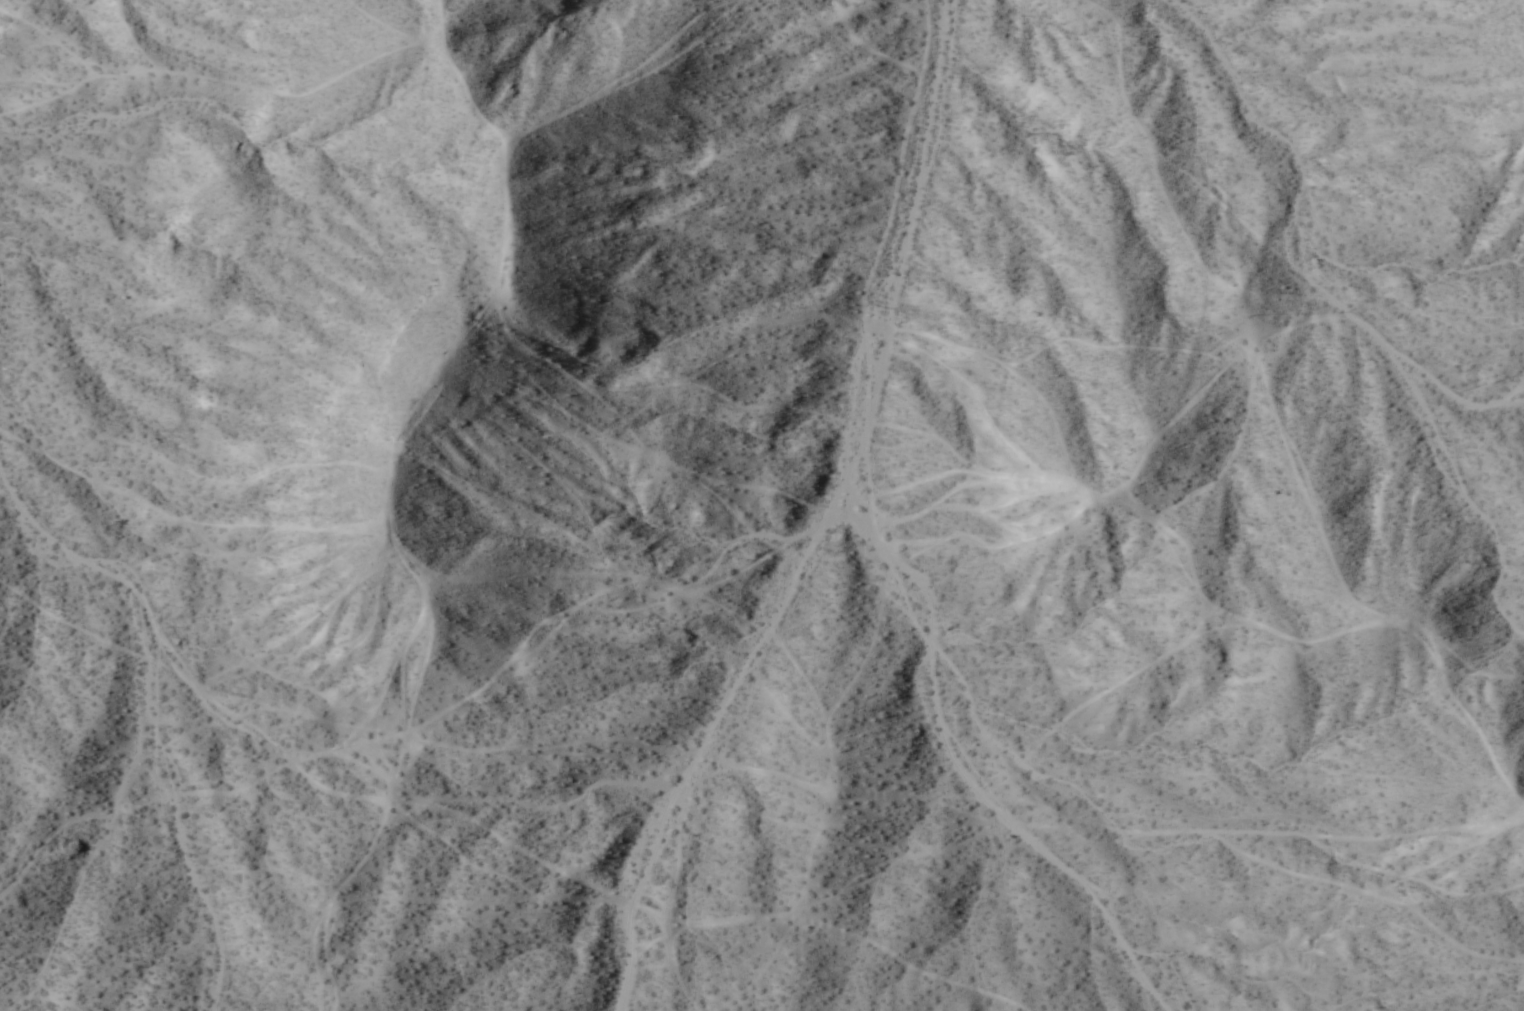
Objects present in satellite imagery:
crop: (762, 770)

